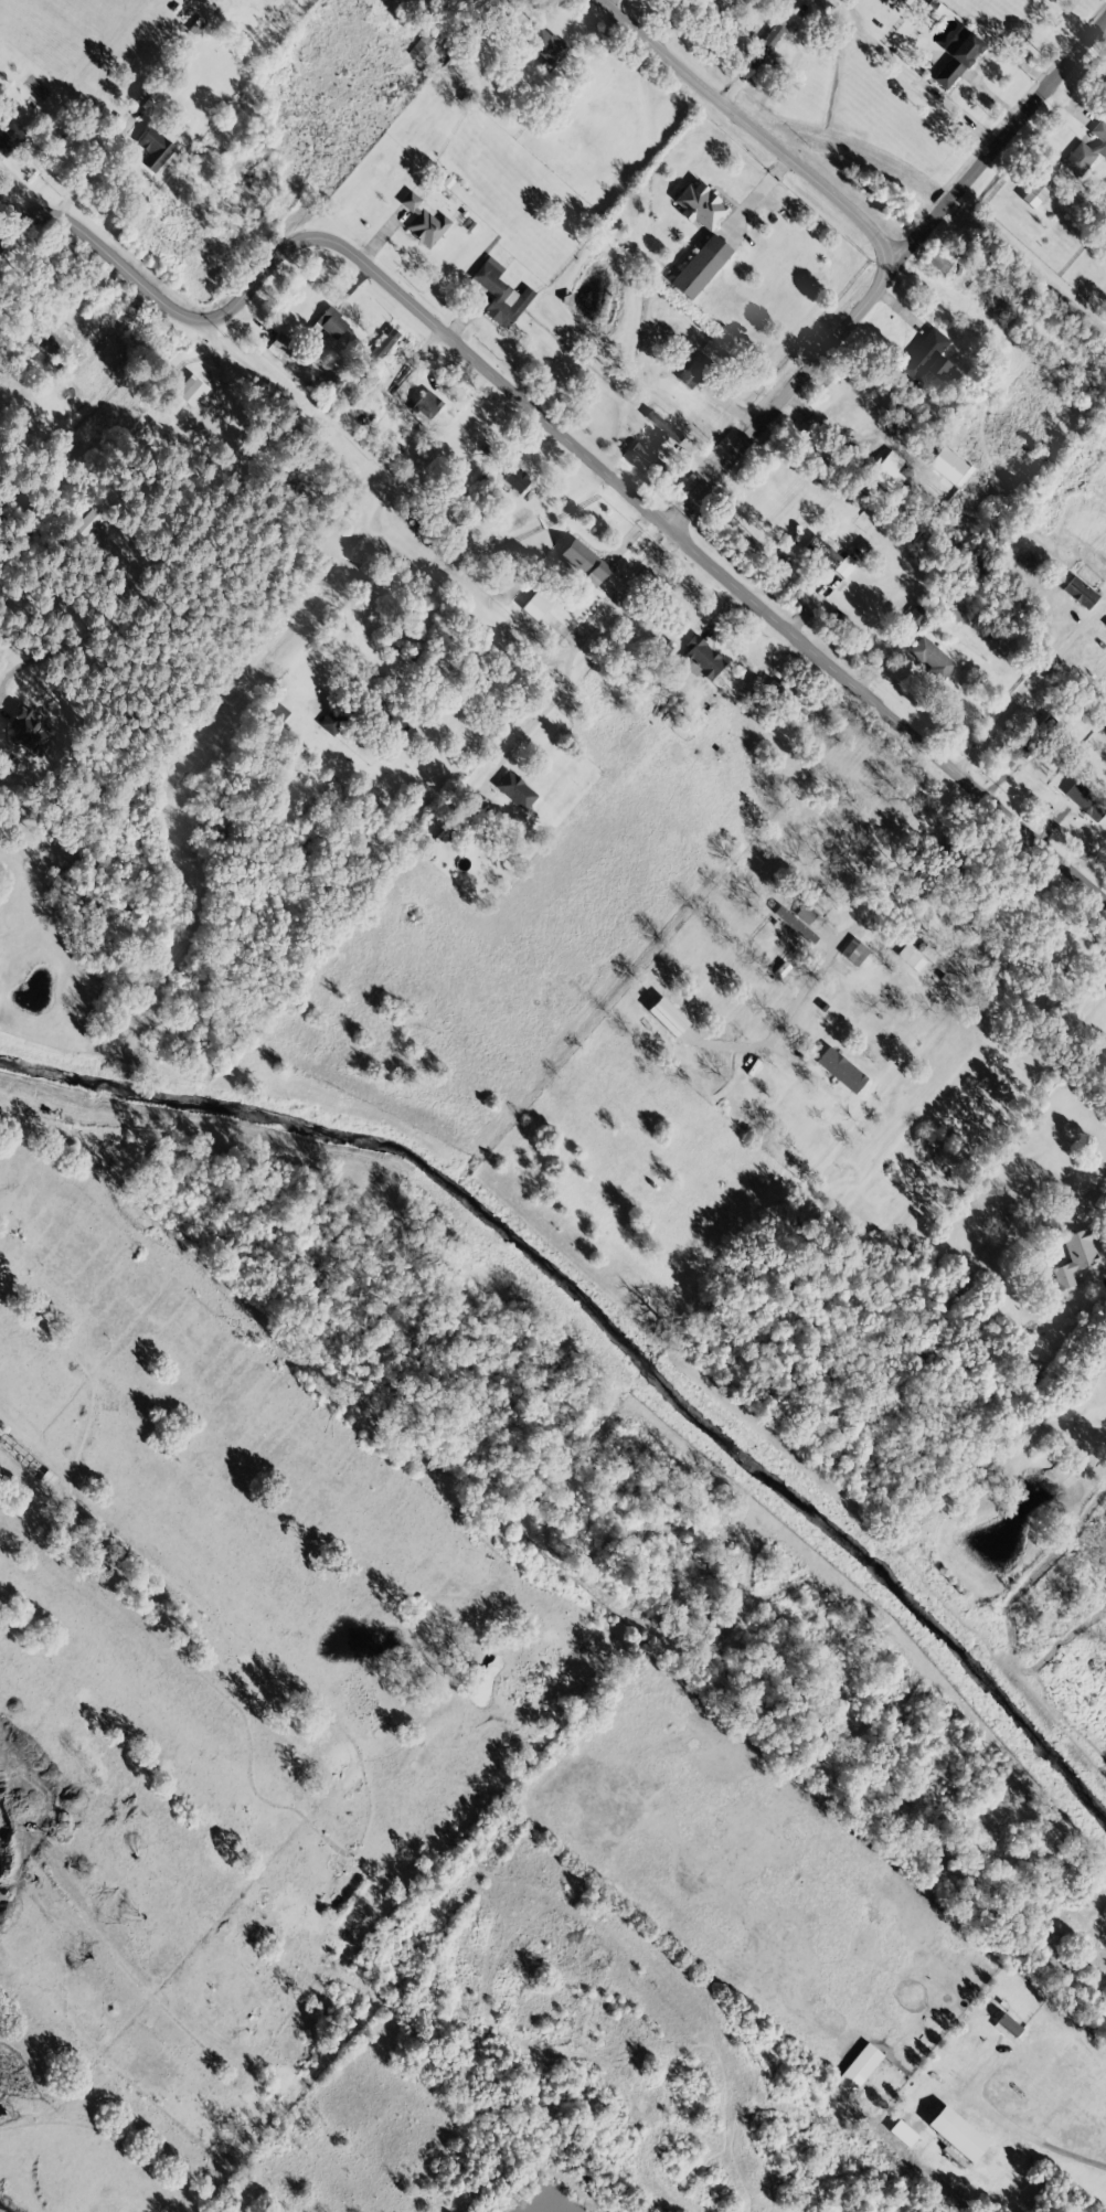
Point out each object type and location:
road: (1105, 32)
building: (423, 45)
building: (546, 46)
building: (957, 55)
road: (747, 125)
building: (9, 137)
road: (999, 148)
building: (153, 149)
building: (1086, 150)
road: (84, 177)
building: (1035, 191)
building: (701, 205)
building: (423, 220)
road: (49, 225)
road: (341, 246)
building: (937, 262)
building: (700, 266)
building: (499, 293)
building: (330, 321)
building: (381, 345)
building: (924, 357)
building: (693, 369)
building: (191, 390)
road: (784, 398)
building: (426, 404)
building: (660, 424)
building: (646, 455)
building: (946, 465)
building: (886, 472)
building: (515, 478)
road: (208, 521)
building: (88, 524)
building: (829, 557)
building: (583, 561)
road: (638, 566)
building: (1078, 592)
building: (536, 603)
building: (914, 615)
road: (574, 648)
building: (930, 657)
building: (700, 658)
building: (787, 699)
road: (1018, 699)
road: (552, 701)
road: (885, 713)
building: (332, 721)
building: (28, 732)
road: (521, 738)
building: (514, 789)
building: (1085, 800)
road: (872, 910)
building: (805, 913)
building: (795, 925)
building: (853, 950)
building: (910, 957)
building: (938, 964)
building: (838, 1070)
building: (1073, 1257)
building: (1006, 2027)
building: (859, 2066)
building: (956, 2133)
road: (1015, 2136)

